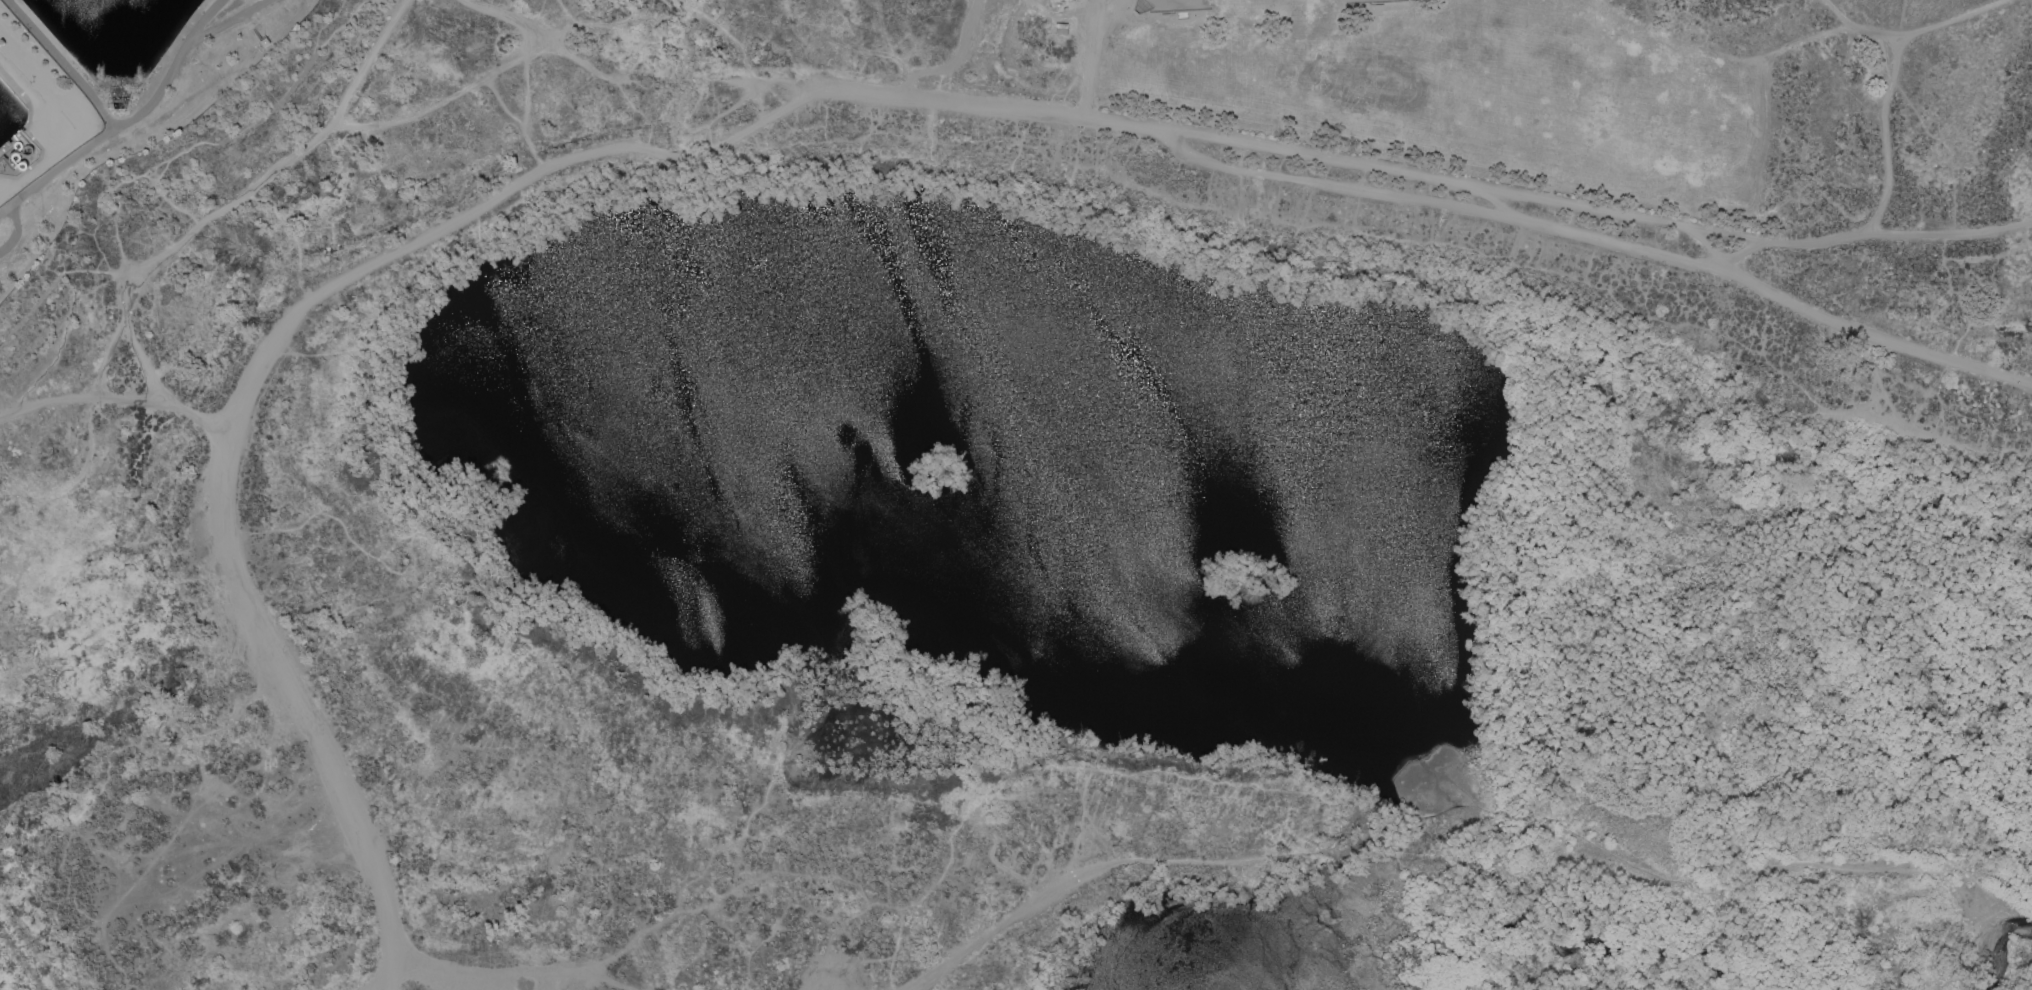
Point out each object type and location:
park: (1331, 1)
park: (1192, 3)
road: (1875, 36)
road: (1089, 58)
park: (1180, 67)
park: (1360, 78)
park: (1500, 88)
park: (107, 93)
road: (792, 97)
park: (1645, 122)
road: (1885, 135)
road: (56, 168)
road: (241, 196)
road: (1451, 205)
road: (1726, 226)
road: (1860, 231)
road: (142, 363)
road: (115, 398)
river: (1657, 907)

